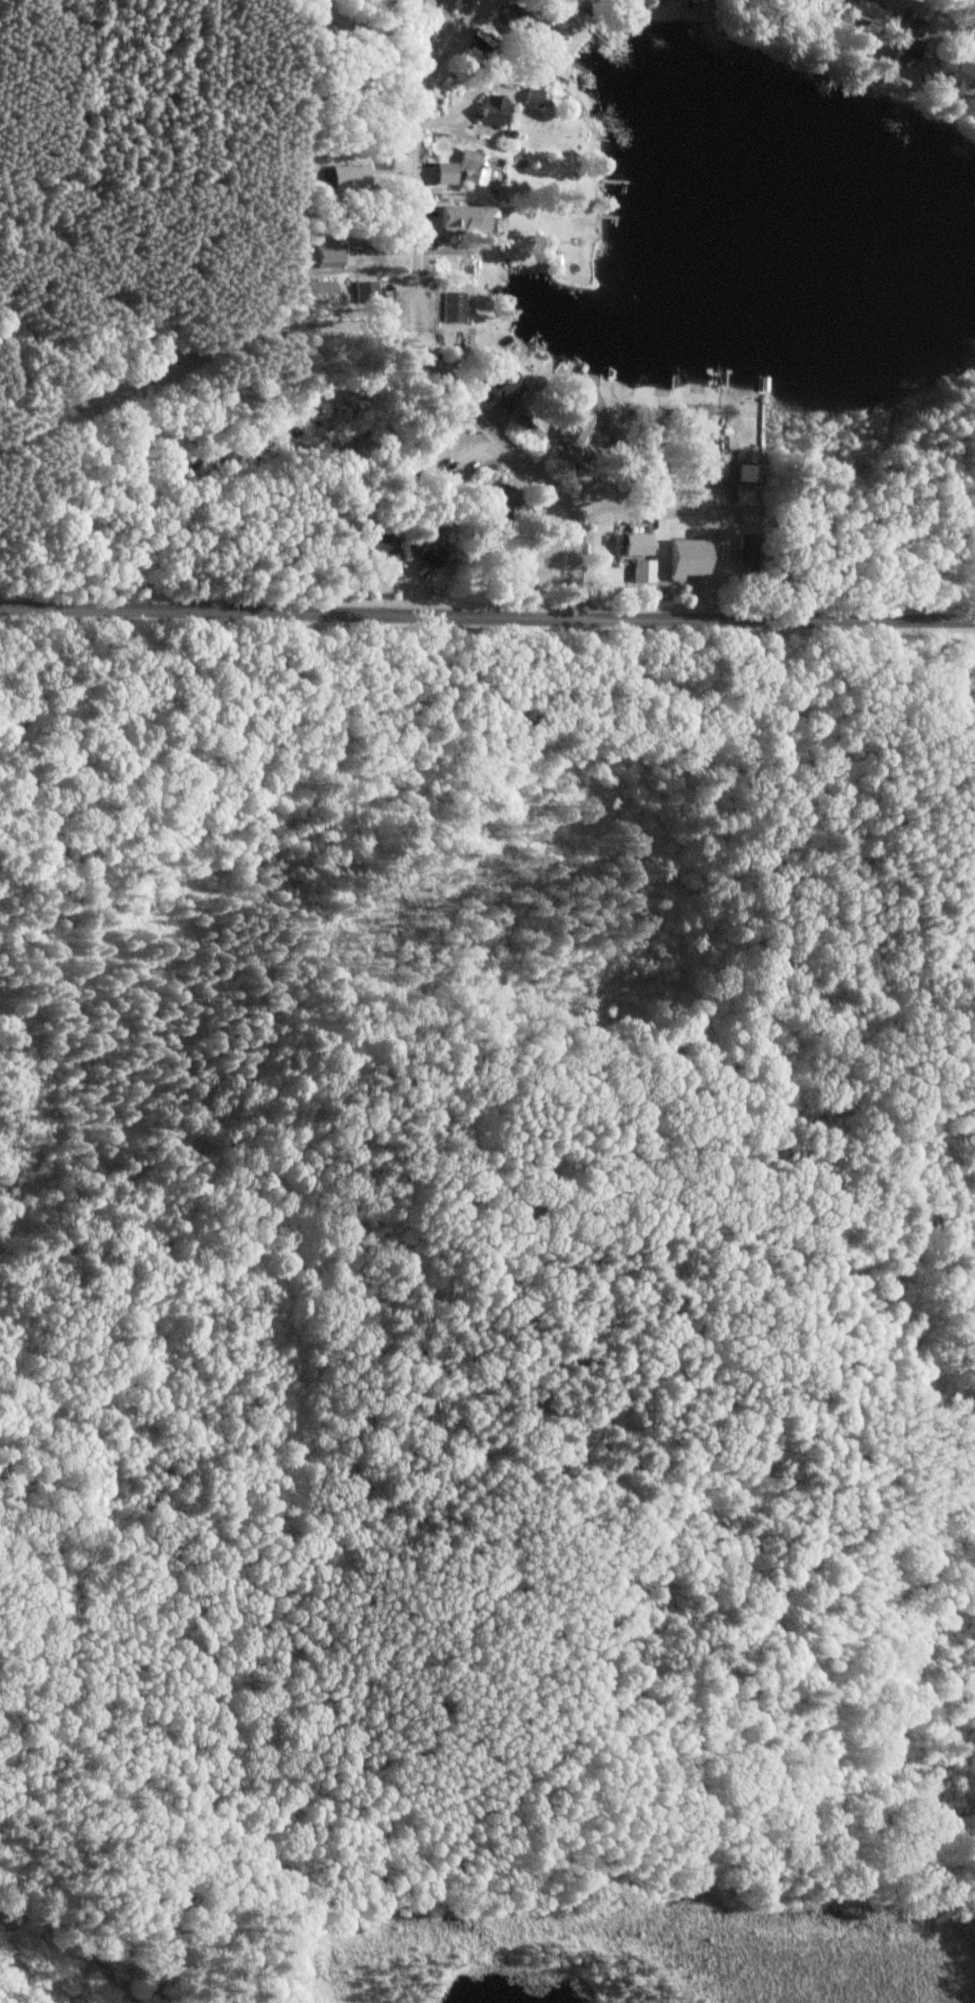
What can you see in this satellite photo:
building: (826, 2)
building: (451, 4)
road: (937, 20)
building: (905, 40)
road: (419, 42)
building: (951, 77)
building: (531, 99)
building: (491, 112)
building: (476, 173)
building: (348, 179)
road: (389, 258)
building: (451, 309)
road: (417, 328)
building: (458, 345)
building: (480, 387)
building: (560, 459)
building: (656, 473)
building: (746, 476)
building: (493, 501)
road: (660, 510)
building: (382, 545)
building: (631, 547)
building: (429, 556)
building: (683, 560)
building: (744, 560)
building: (638, 573)
road: (487, 612)
road: (859, 1454)

